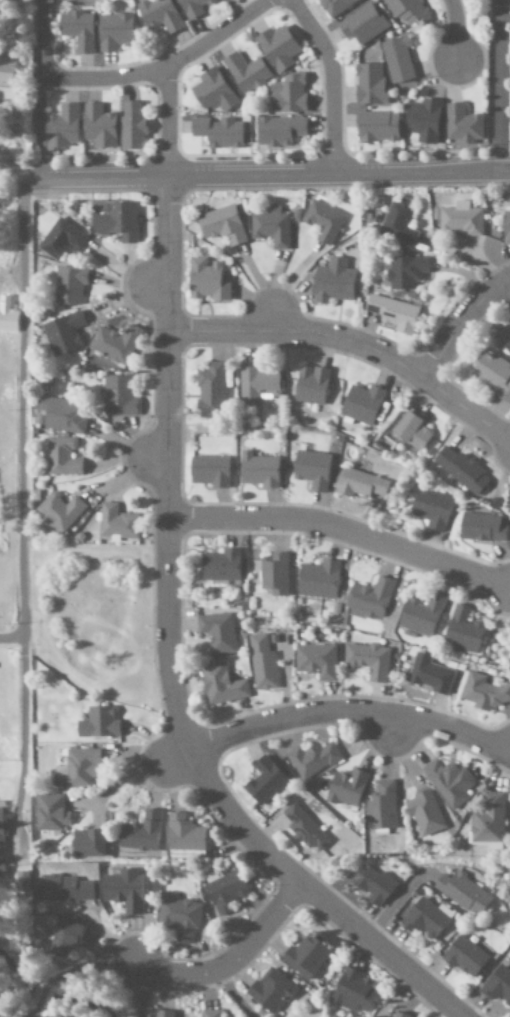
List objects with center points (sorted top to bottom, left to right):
building: (335, 6)
building: (193, 7)
building: (407, 11)
building: (159, 15)
building: (362, 24)
road: (456, 28)
building: (77, 30)
building: (114, 32)
road: (47, 41)
building: (278, 48)
building: (397, 59)
road: (170, 68)
building: (246, 72)
building: (6, 73)
road: (333, 80)
building: (370, 85)
road: (497, 86)
building: (213, 92)
building: (7, 94)
building: (288, 94)
building: (424, 122)
building: (462, 125)
building: (131, 126)
building: (377, 127)
building: (61, 128)
building: (98, 128)
building: (279, 131)
building: (218, 132)
road: (38, 178)
building: (458, 219)
building: (116, 221)
building: (323, 221)
building: (398, 221)
building: (222, 226)
building: (506, 227)
building: (271, 228)
building: (60, 239)
building: (402, 273)
building: (206, 281)
building: (333, 282)
building: (69, 285)
building: (393, 313)
building: (7, 316)
road: (462, 326)
building: (63, 336)
road: (353, 342)
building: (115, 344)
building: (508, 346)
building: (494, 376)
building: (258, 383)
building: (310, 386)
building: (210, 391)
building: (118, 397)
building: (362, 404)
building: (62, 415)
building: (412, 430)
building: (61, 458)
building: (258, 470)
building: (311, 470)
building: (461, 470)
building: (209, 472)
building: (360, 485)
road: (171, 498)
building: (432, 507)
building: (58, 513)
building: (117, 524)
building: (482, 528)
road: (344, 531)
building: (221, 567)
building: (274, 573)
building: (318, 579)
building: (369, 598)
building: (421, 615)
building: (463, 630)
building: (217, 632)
road: (12, 640)
building: (368, 659)
building: (316, 660)
building: (262, 663)
building: (429, 674)
building: (220, 684)
building: (484, 691)
road: (351, 712)
building: (97, 723)
building: (312, 759)
building: (77, 768)
building: (264, 780)
building: (450, 782)
building: (346, 787)
building: (382, 805)
building: (50, 813)
building: (425, 814)
building: (488, 820)
building: (304, 828)
building: (141, 832)
building: (184, 833)
building: (1, 840)
building: (88, 843)
building: (22, 882)
building: (373, 884)
building: (62, 888)
building: (123, 889)
building: (225, 890)
building: (463, 892)
building: (179, 917)
building: (425, 918)
building: (65, 938)
road: (382, 951)
building: (305, 956)
building: (464, 956)
road: (233, 963)
building: (497, 985)
building: (270, 990)
building: (352, 993)
building: (164, 1013)
building: (211, 1013)
building: (400, 1014)
building: (58, 1015)

